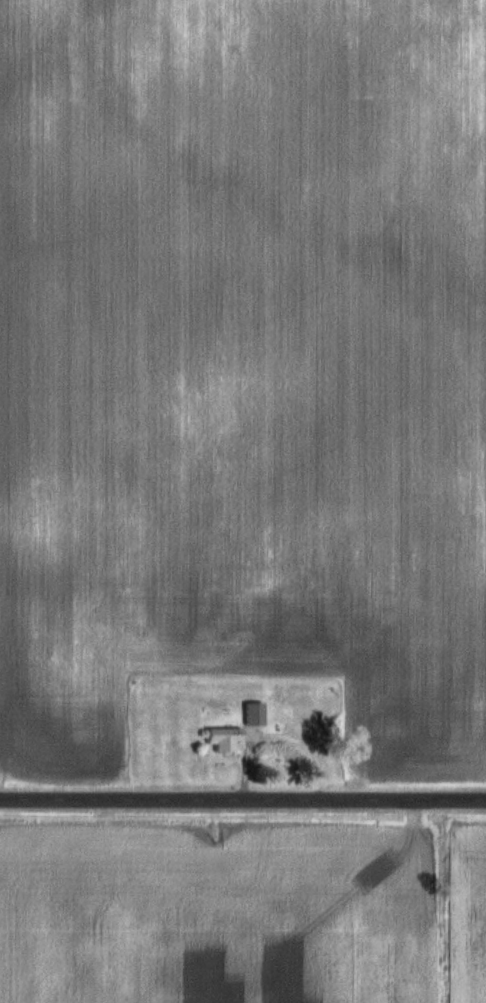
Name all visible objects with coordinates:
building: (257, 713)
building: (227, 737)
road: (243, 799)

